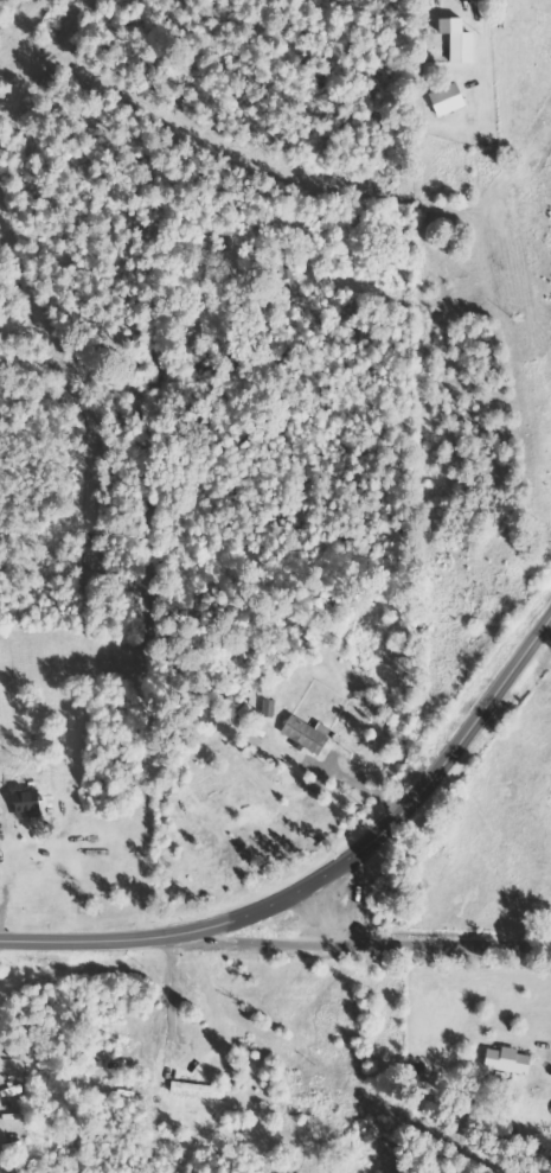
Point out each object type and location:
building: (459, 40)
building: (448, 100)
building: (308, 733)
building: (30, 804)
road: (326, 879)
road: (415, 943)
building: (508, 1059)
building: (200, 1090)

